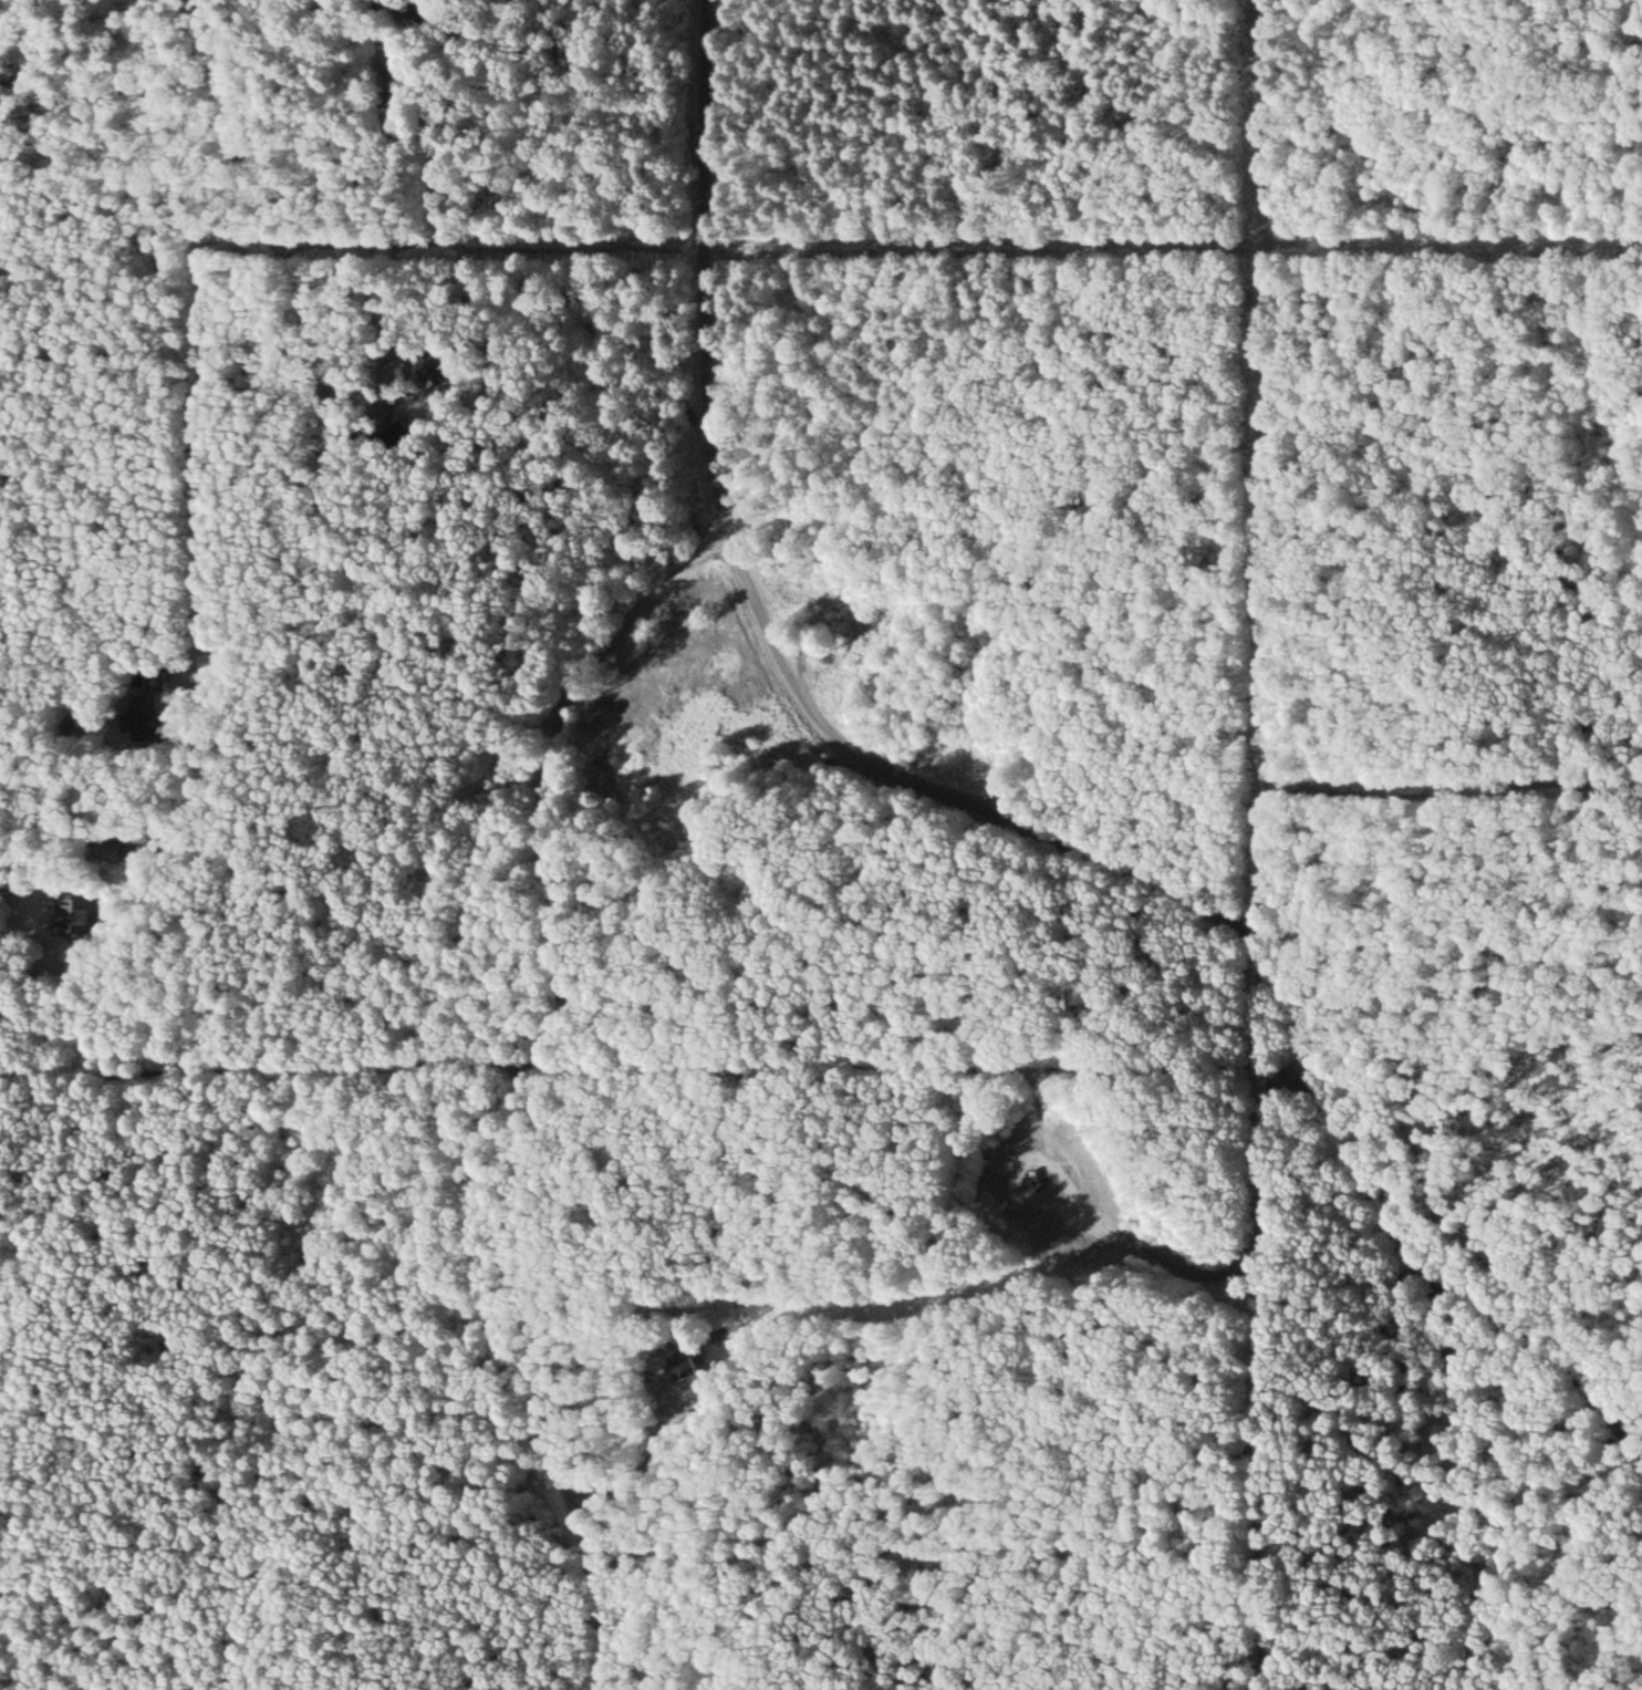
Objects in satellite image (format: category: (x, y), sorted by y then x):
road: (319, 294)
road: (999, 810)
road: (527, 1090)
petroleum well: (1051, 1184)
road: (1162, 1264)
road: (1474, 1484)

